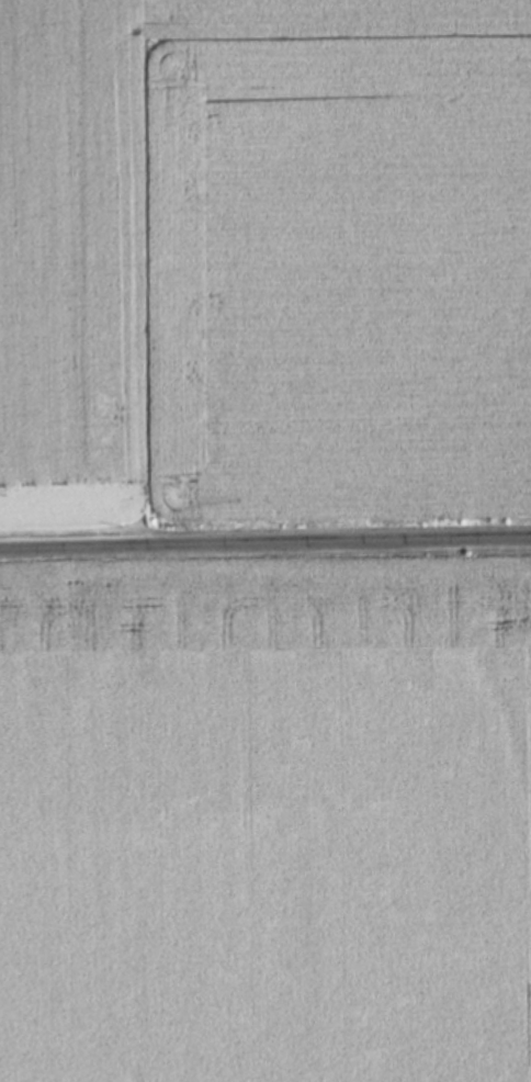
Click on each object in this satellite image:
road: (265, 544)

